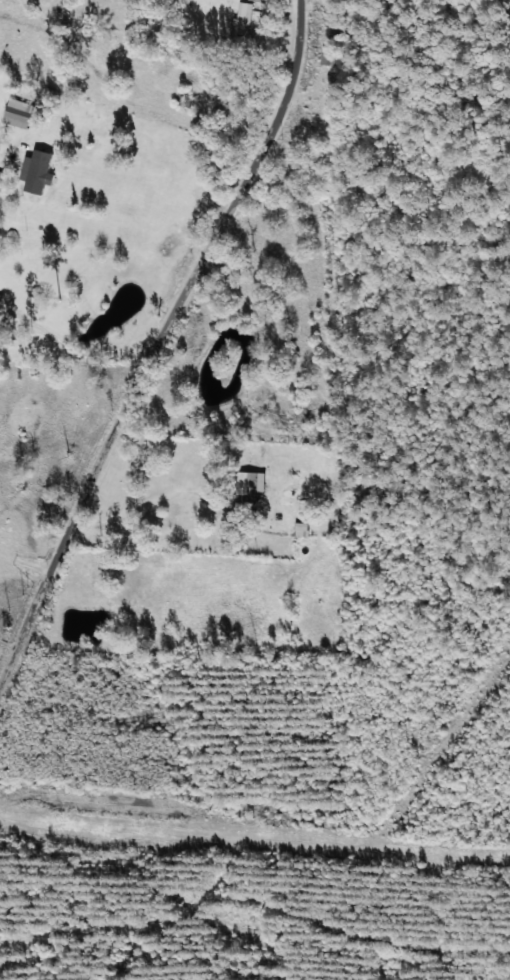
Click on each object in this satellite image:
building: (242, 18)
building: (327, 50)
building: (16, 113)
building: (37, 171)
road: (162, 370)
building: (245, 487)

